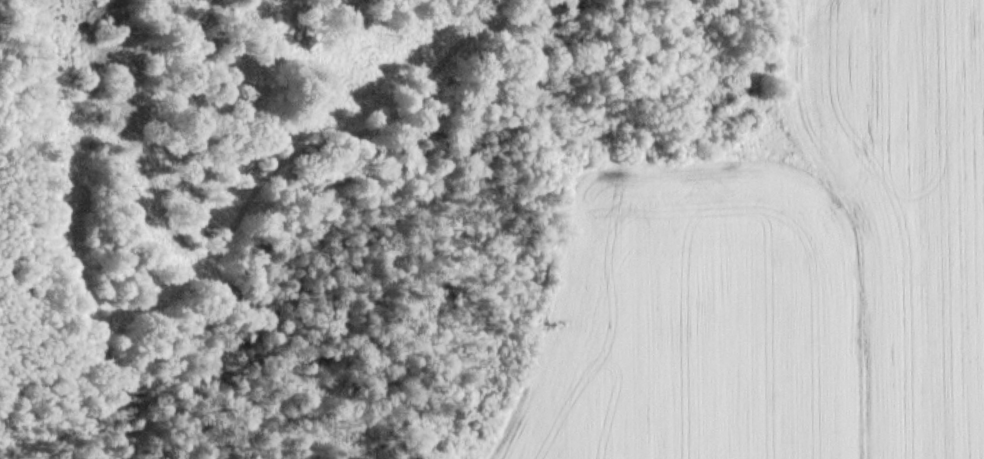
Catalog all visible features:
building: (101, 113)

